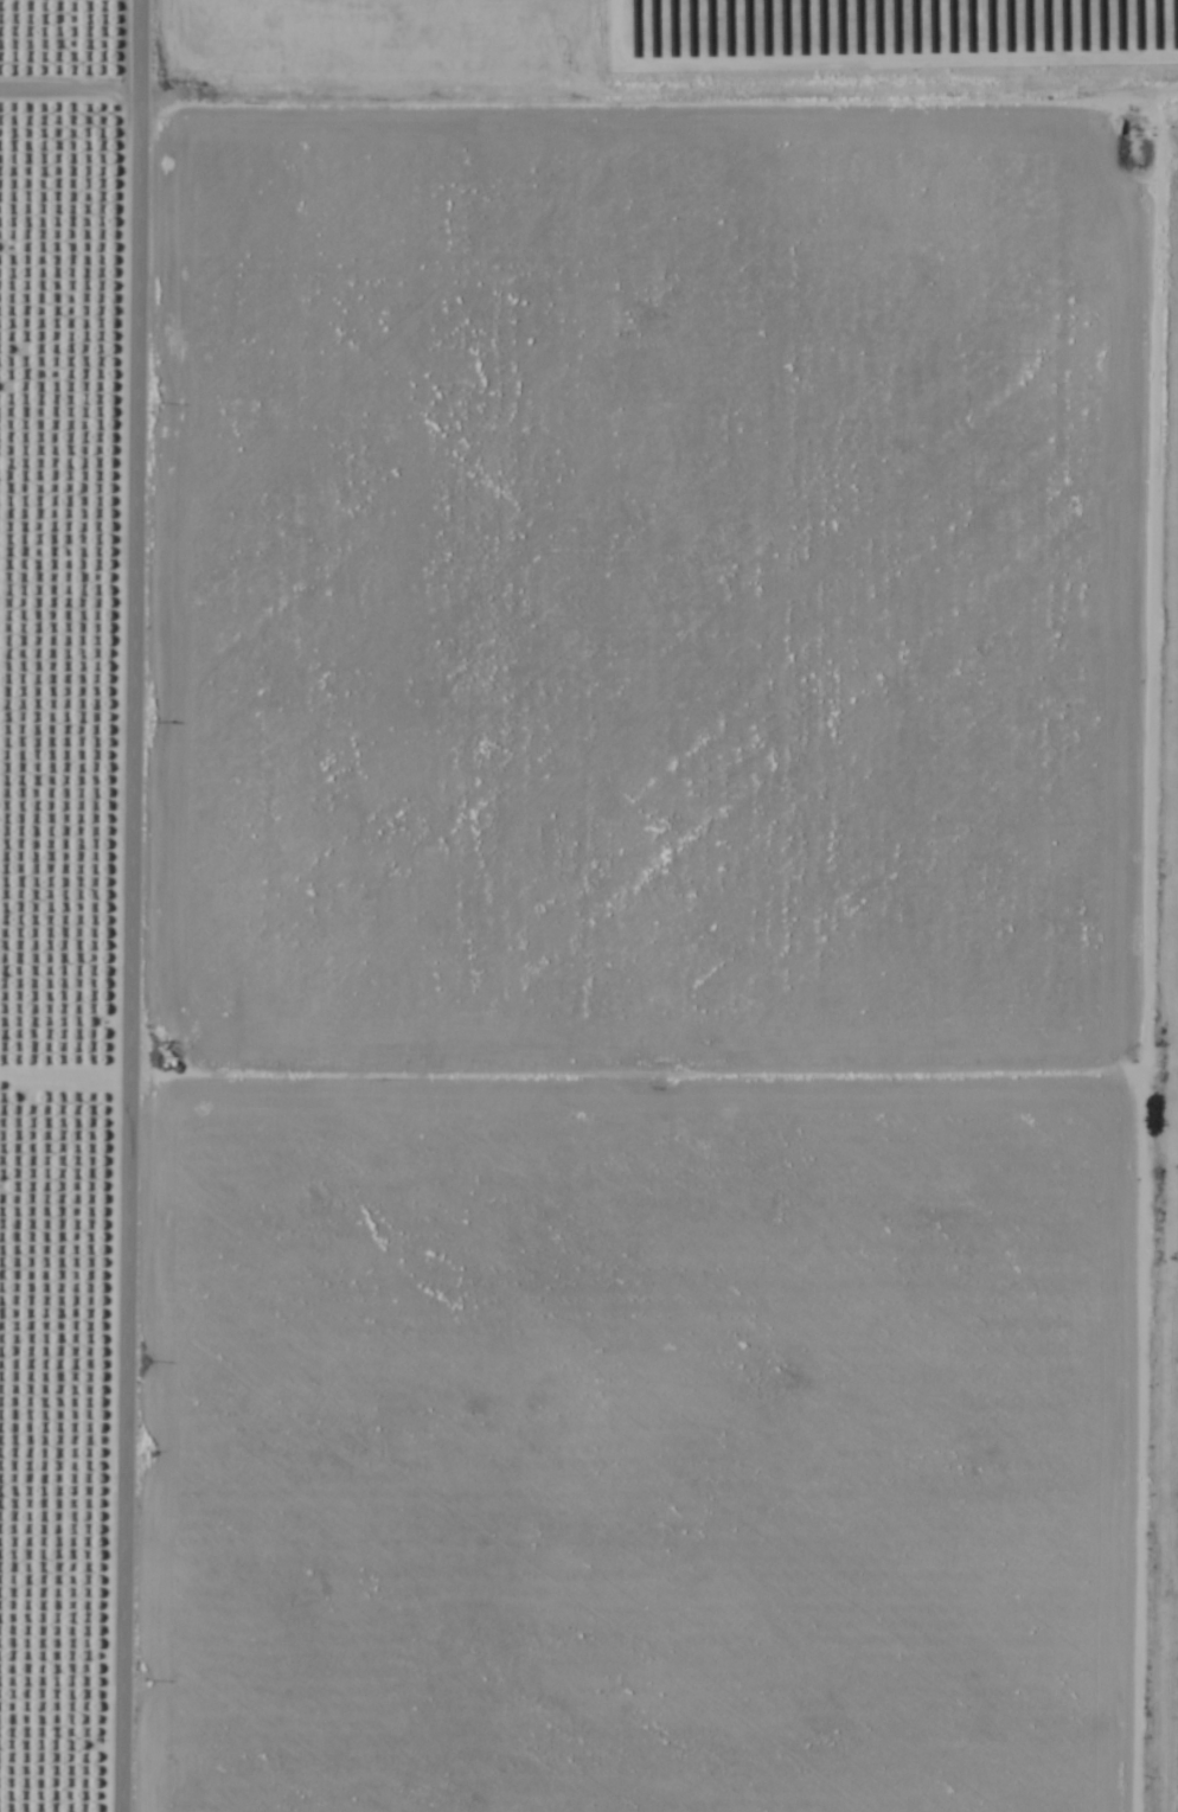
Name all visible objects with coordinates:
road: (589, 57)
road: (130, 905)
road: (1093, 934)
crop: (651, 966)
solar farm: (1159, 968)
road: (546, 1037)

